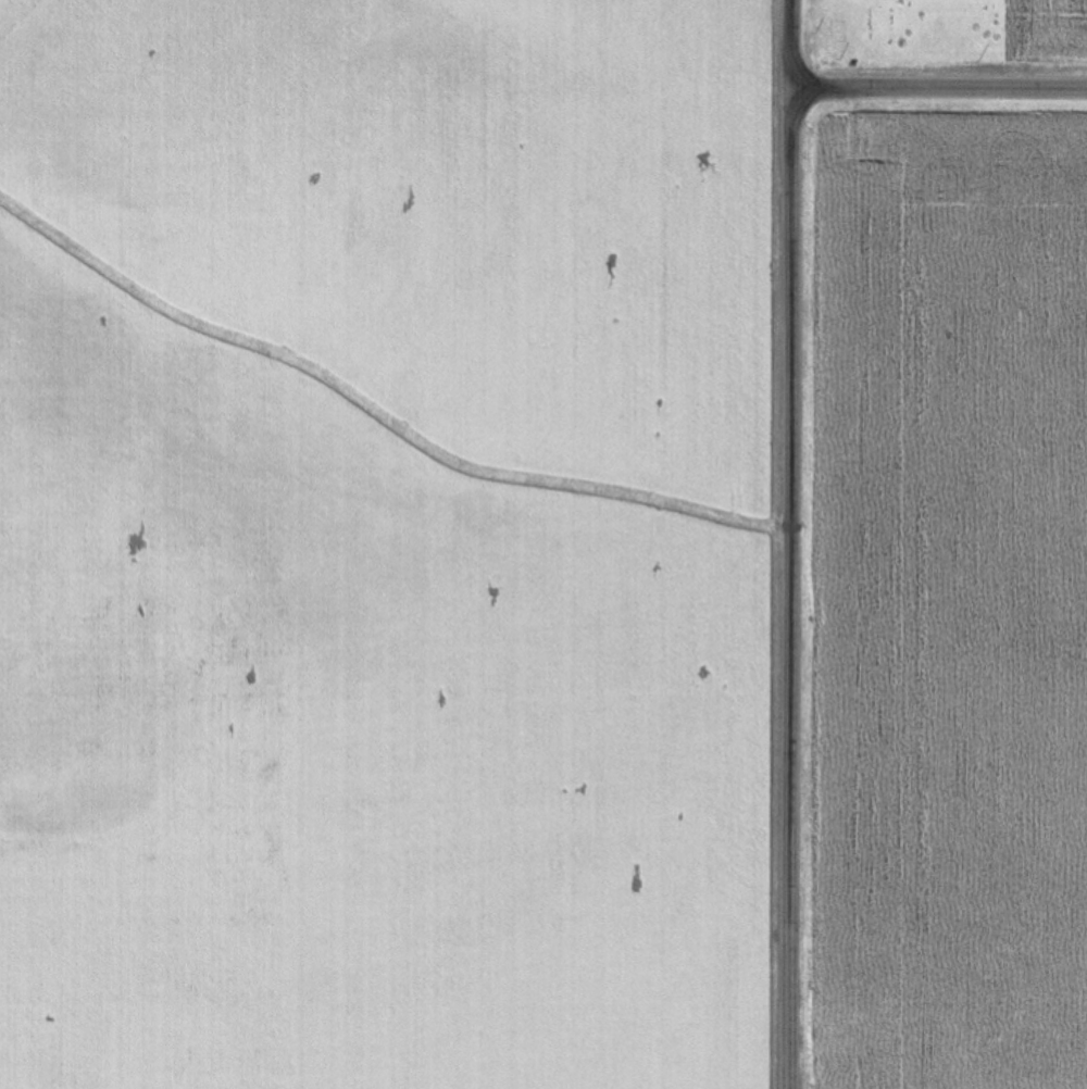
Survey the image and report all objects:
park: (909, 34)
road: (939, 95)
road: (791, 543)

